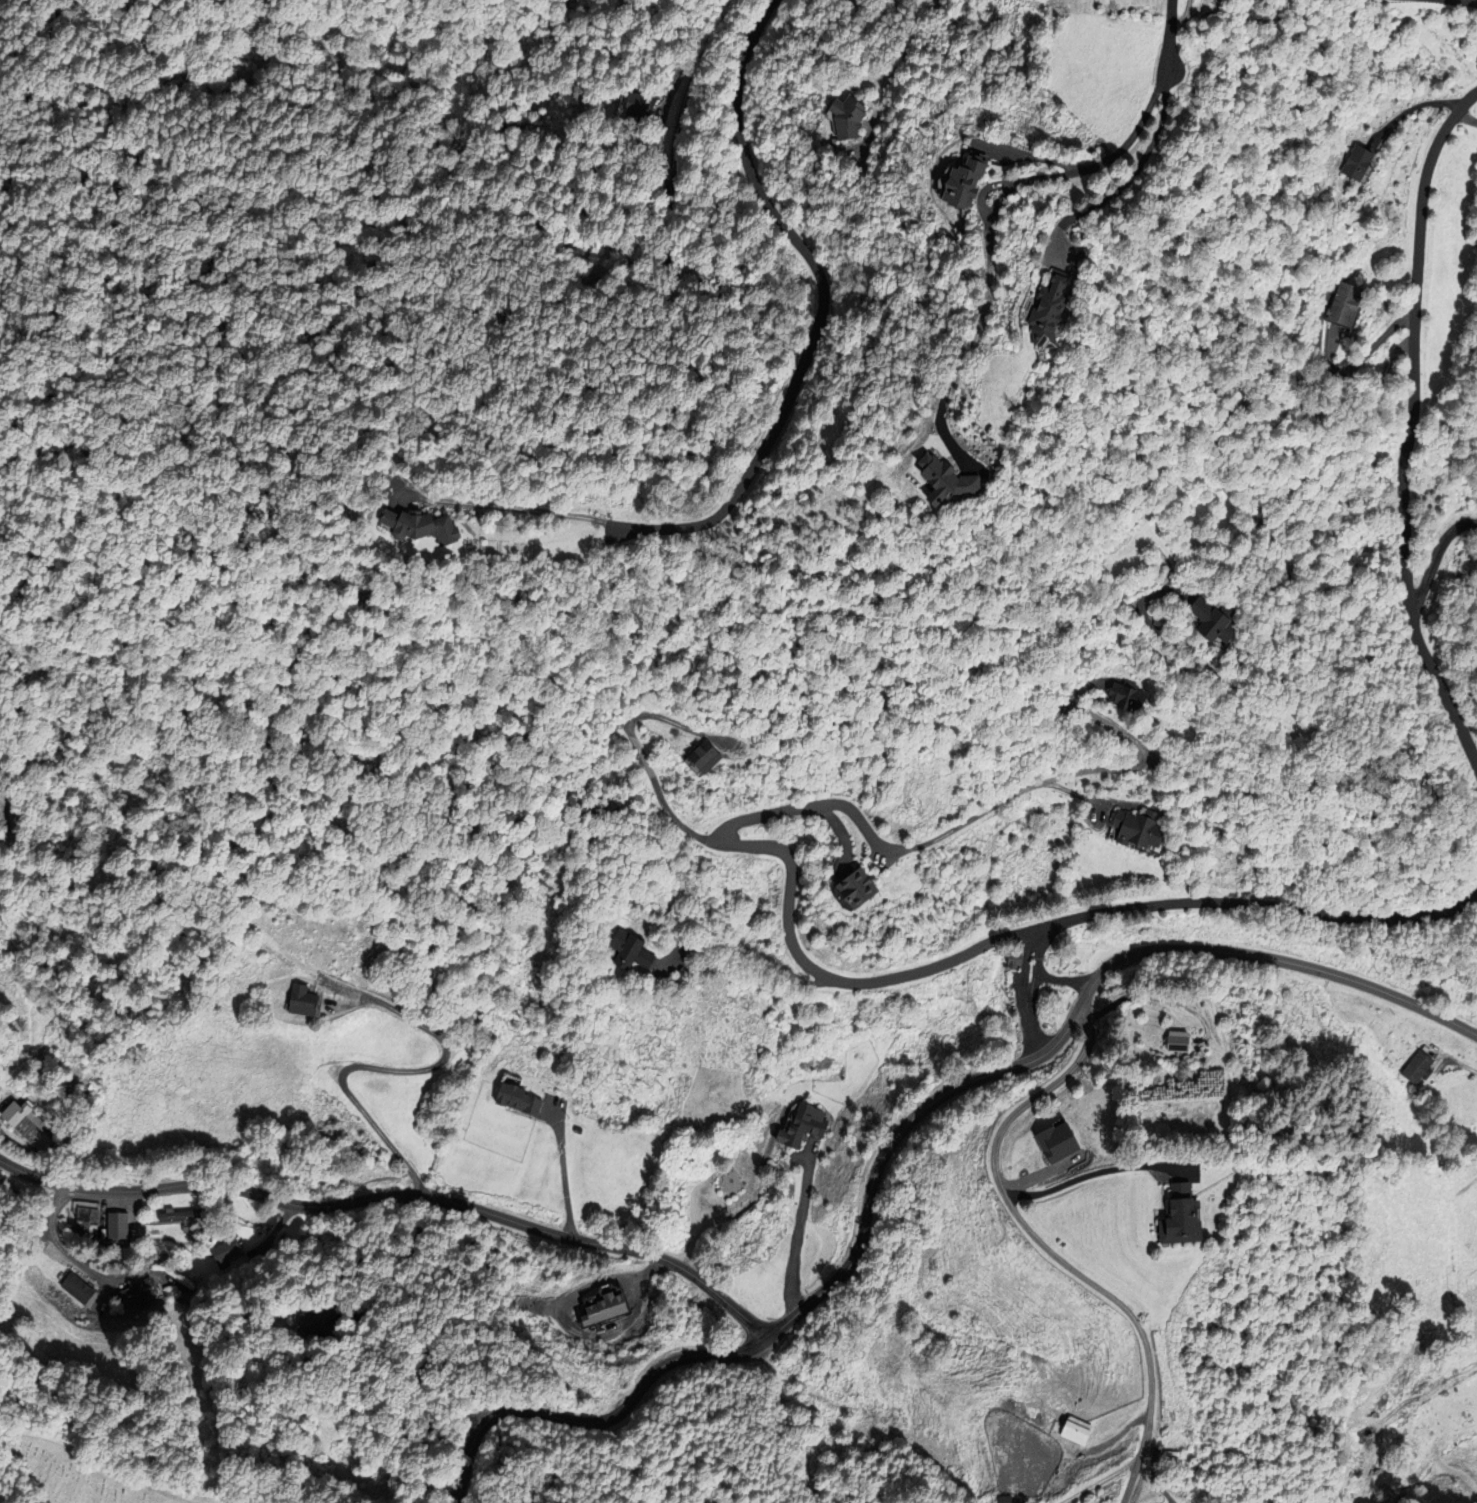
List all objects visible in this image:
road: (1474, 0)
road: (717, 26)
road: (1169, 35)
road: (894, 62)
building: (843, 116)
road: (1465, 118)
building: (1348, 162)
road: (663, 180)
building: (962, 185)
road: (1009, 187)
building: (1334, 303)
road: (821, 311)
building: (1037, 311)
road: (1409, 427)
road: (517, 508)
building: (415, 527)
road: (1435, 542)
road: (1287, 595)
building: (1204, 623)
building: (1126, 695)
building: (704, 760)
road: (645, 763)
road: (1061, 774)
building: (1130, 831)
building: (842, 889)
road: (788, 890)
road: (1257, 903)
building: (626, 952)
building: (1011, 959)
road: (1024, 964)
road: (1036, 966)
road: (1062, 980)
building: (307, 1001)
road: (1068, 1025)
road: (1031, 1030)
building: (1173, 1042)
building: (860, 1048)
building: (1415, 1068)
building: (519, 1099)
building: (803, 1124)
building: (31, 1126)
road: (1091, 1173)
road: (396, 1197)
building: (89, 1213)
building: (183, 1214)
building: (1171, 1219)
road: (1046, 1248)
building: (229, 1252)
building: (75, 1289)
building: (138, 1294)
building: (598, 1307)
building: (305, 1321)
road: (596, 1422)
building: (1075, 1432)
park: (76, 1476)

